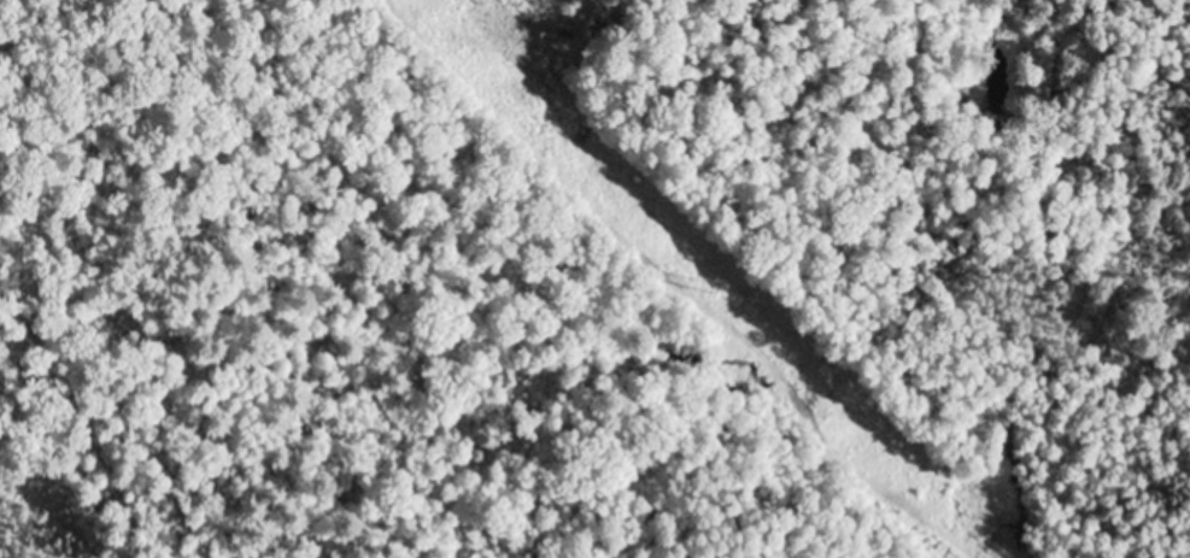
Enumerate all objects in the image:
power tower: (716, 289)

